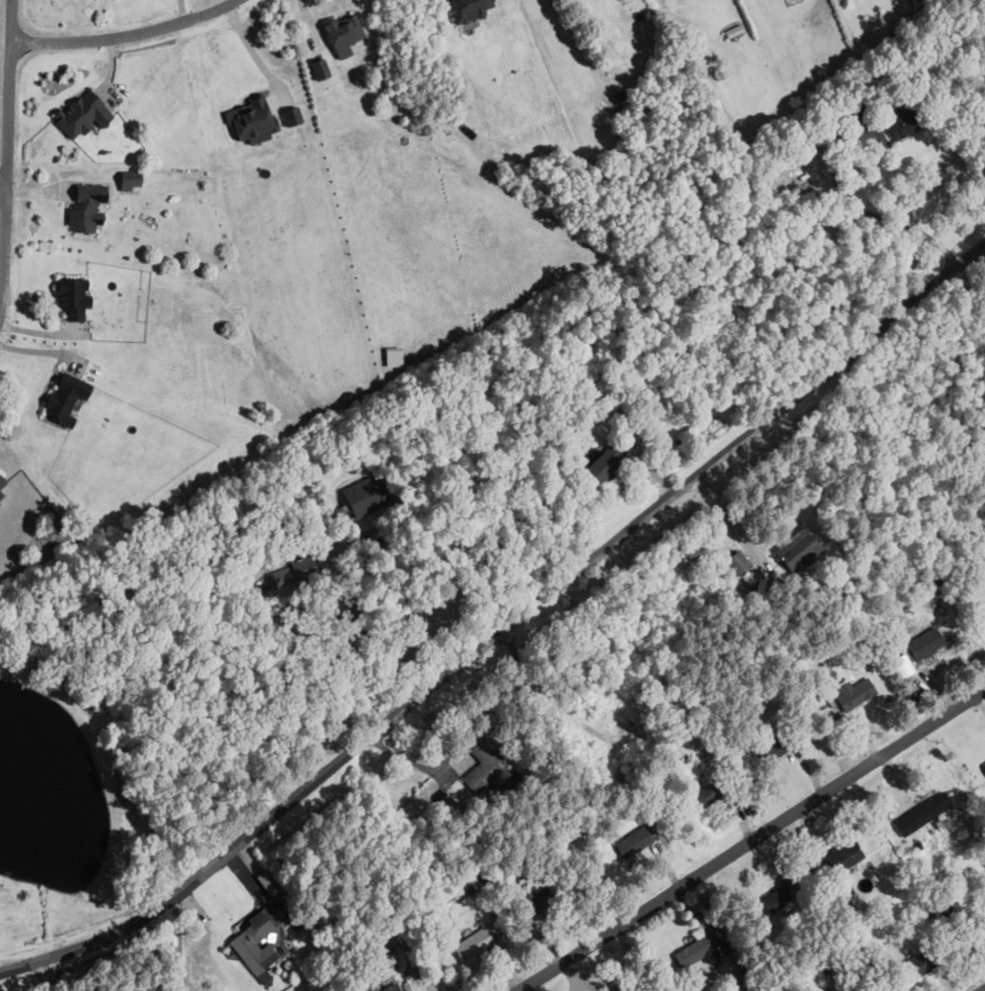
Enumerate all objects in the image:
building: (469, 9)
building: (734, 29)
road: (126, 31)
building: (343, 33)
road: (252, 52)
building: (320, 68)
building: (81, 114)
building: (292, 115)
building: (252, 118)
building: (902, 123)
road: (8, 154)
building: (130, 179)
road: (3, 182)
road: (838, 191)
building: (84, 212)
building: (72, 298)
building: (65, 400)
building: (602, 461)
building: (2, 481)
building: (1, 492)
road: (727, 516)
building: (797, 548)
building: (737, 560)
building: (295, 570)
building: (749, 577)
building: (982, 595)
road: (300, 610)
road: (364, 631)
road: (504, 632)
building: (925, 643)
building: (904, 665)
road: (393, 668)
building: (854, 692)
building: (779, 742)
building: (984, 763)
building: (483, 766)
building: (702, 797)
building: (937, 803)
building: (634, 841)
road: (756, 842)
building: (846, 853)
building: (268, 880)
building: (789, 881)
building: (774, 899)
building: (538, 900)
building: (980, 914)
building: (257, 938)
building: (473, 943)
building: (695, 951)
building: (384, 953)
building: (826, 961)
building: (918, 963)
building: (390, 987)
building: (614, 988)
road: (984, 990)

